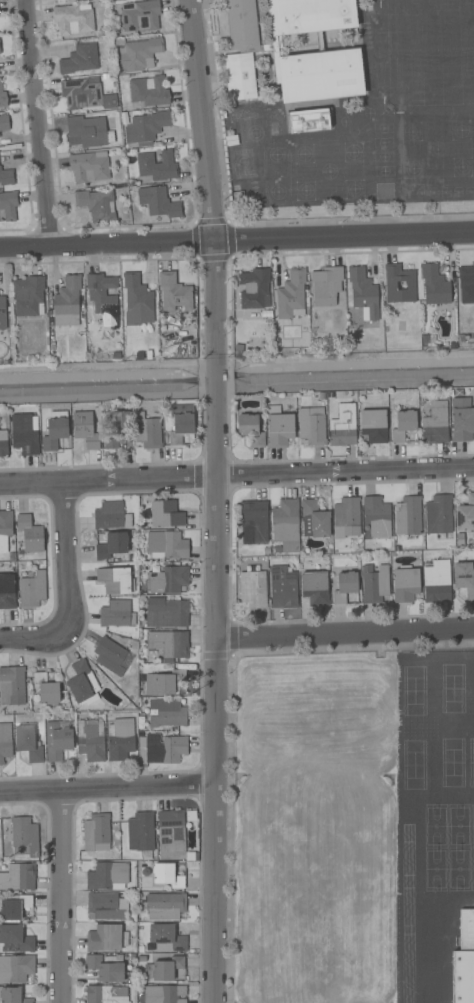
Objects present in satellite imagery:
building: (140, 15)
building: (73, 19)
building: (336, 53)
building: (137, 54)
building: (79, 59)
building: (149, 91)
building: (81, 93)
building: (2, 97)
building: (109, 101)
building: (308, 120)
road: (40, 122)
building: (4, 123)
building: (145, 127)
building: (272, 129)
building: (86, 131)
building: (89, 166)
building: (157, 166)
building: (6, 177)
road: (210, 177)
building: (158, 202)
building: (96, 204)
building: (8, 205)
road: (237, 241)
building: (466, 283)
building: (326, 285)
building: (390, 285)
building: (434, 285)
building: (254, 288)
building: (174, 292)
building: (363, 292)
building: (102, 295)
building: (291, 295)
building: (28, 296)
building: (137, 301)
building: (67, 302)
building: (2, 313)
building: (255, 328)
road: (218, 379)
building: (462, 419)
building: (181, 423)
building: (373, 423)
building: (435, 424)
building: (403, 425)
building: (312, 426)
building: (343, 426)
building: (279, 427)
building: (85, 430)
building: (117, 430)
building: (250, 430)
building: (147, 431)
building: (54, 433)
building: (25, 434)
building: (3, 439)
road: (237, 479)
building: (165, 514)
building: (345, 514)
building: (438, 514)
building: (465, 515)
building: (111, 516)
building: (408, 516)
building: (375, 518)
building: (314, 520)
building: (254, 522)
building: (286, 525)
building: (5, 529)
building: (30, 534)
building: (111, 545)
building: (167, 545)
building: (277, 550)
building: (266, 551)
road: (69, 563)
building: (464, 578)
building: (166, 579)
building: (115, 580)
building: (436, 582)
building: (375, 584)
building: (405, 584)
building: (252, 586)
building: (344, 586)
building: (283, 587)
building: (315, 588)
building: (32, 590)
building: (7, 592)
building: (166, 612)
building: (116, 614)
road: (345, 635)
building: (168, 643)
road: (31, 644)
building: (109, 655)
building: (81, 682)
building: (163, 682)
building: (12, 685)
building: (46, 689)
road: (217, 702)
building: (167, 713)
building: (56, 739)
building: (90, 739)
building: (120, 739)
building: (5, 741)
building: (28, 743)
building: (165, 749)
road: (108, 786)
park: (313, 828)
building: (140, 832)
building: (96, 833)
building: (172, 835)
building: (23, 838)
building: (167, 875)
building: (17, 876)
building: (107, 876)
road: (60, 895)
building: (14, 906)
building: (105, 906)
building: (164, 906)
building: (105, 937)
building: (166, 938)
building: (15, 939)
building: (141, 949)
building: (142, 958)
building: (464, 960)
building: (106, 967)
building: (16, 968)
building: (163, 968)
building: (106, 994)
building: (164, 994)
building: (12, 996)

